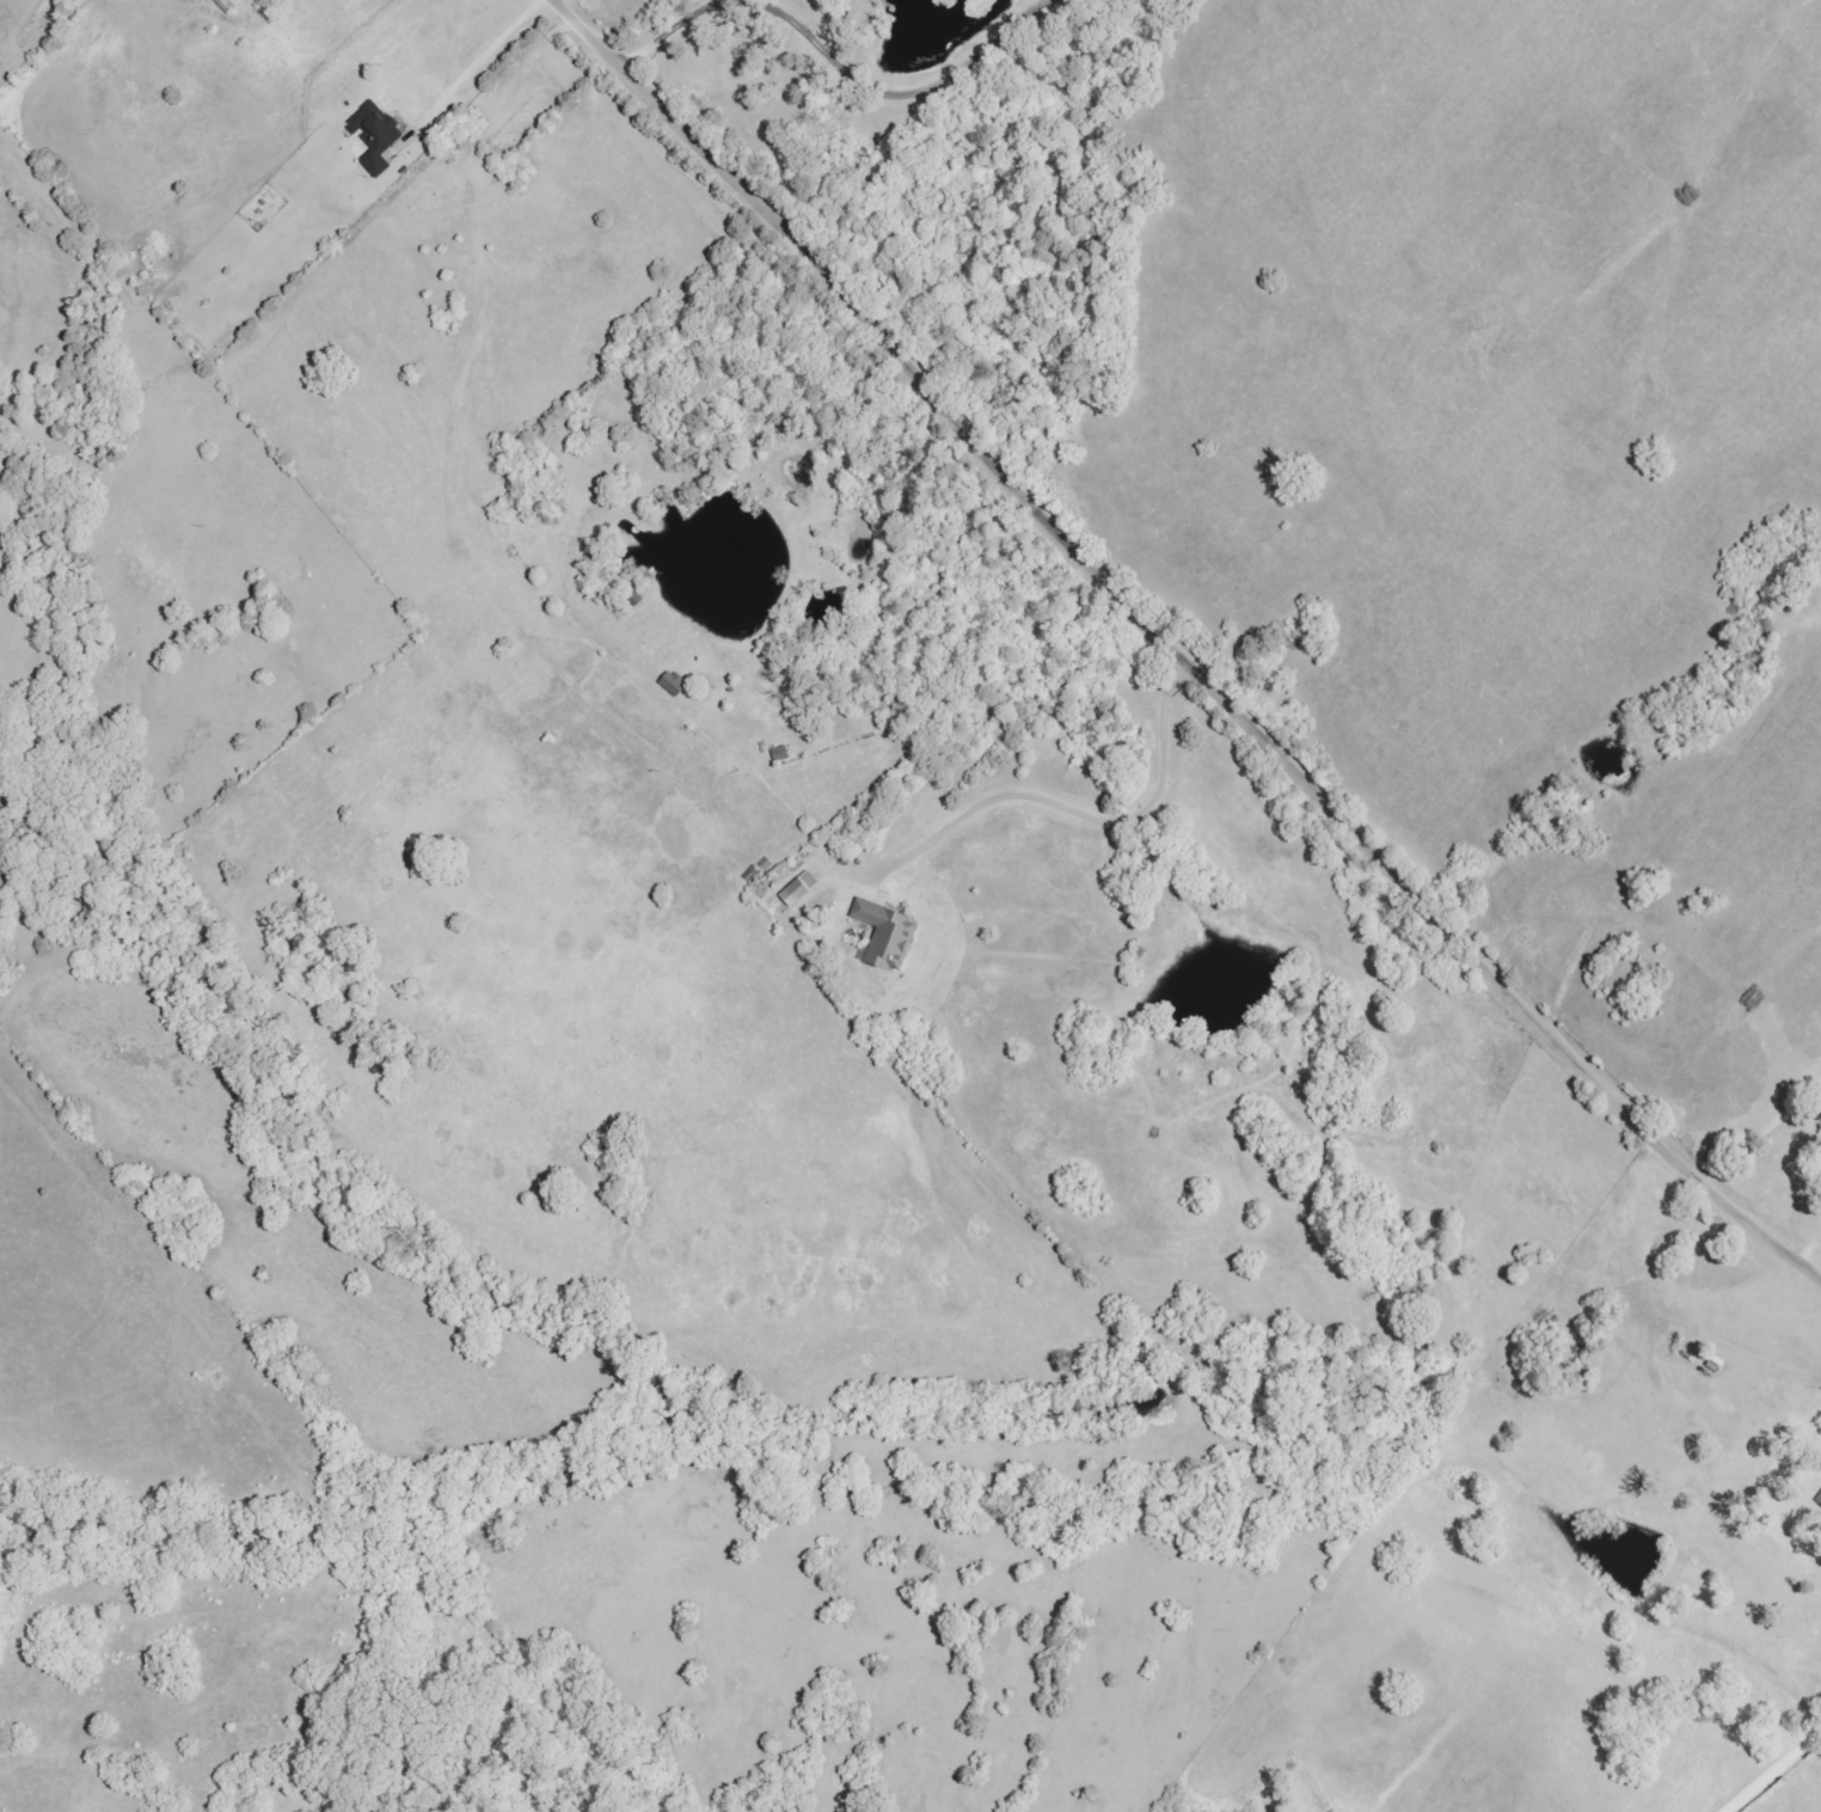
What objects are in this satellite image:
road: (676, 29)
road: (450, 75)
road: (916, 88)
building: (374, 136)
road: (456, 446)
road: (1181, 645)
building: (672, 684)
building: (798, 889)
building: (884, 935)
building: (1819, 1499)
road: (1774, 1774)

